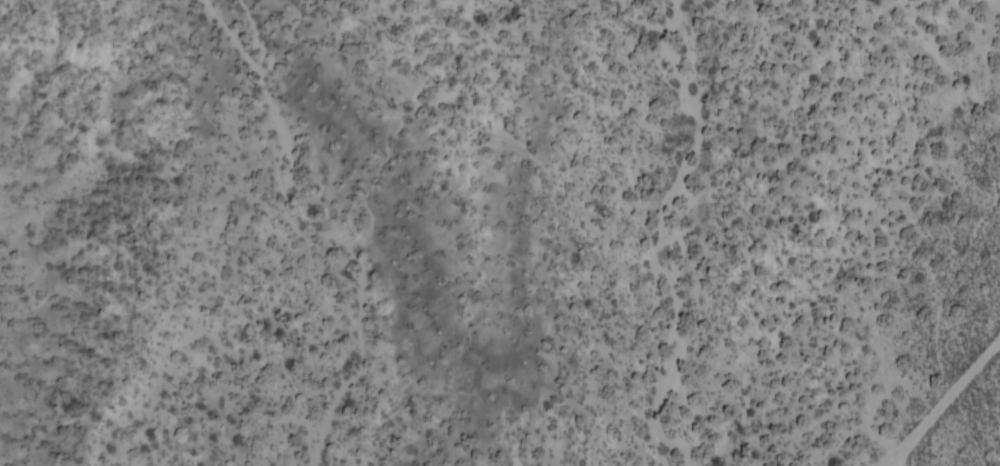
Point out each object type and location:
road: (939, 394)
road: (871, 455)

